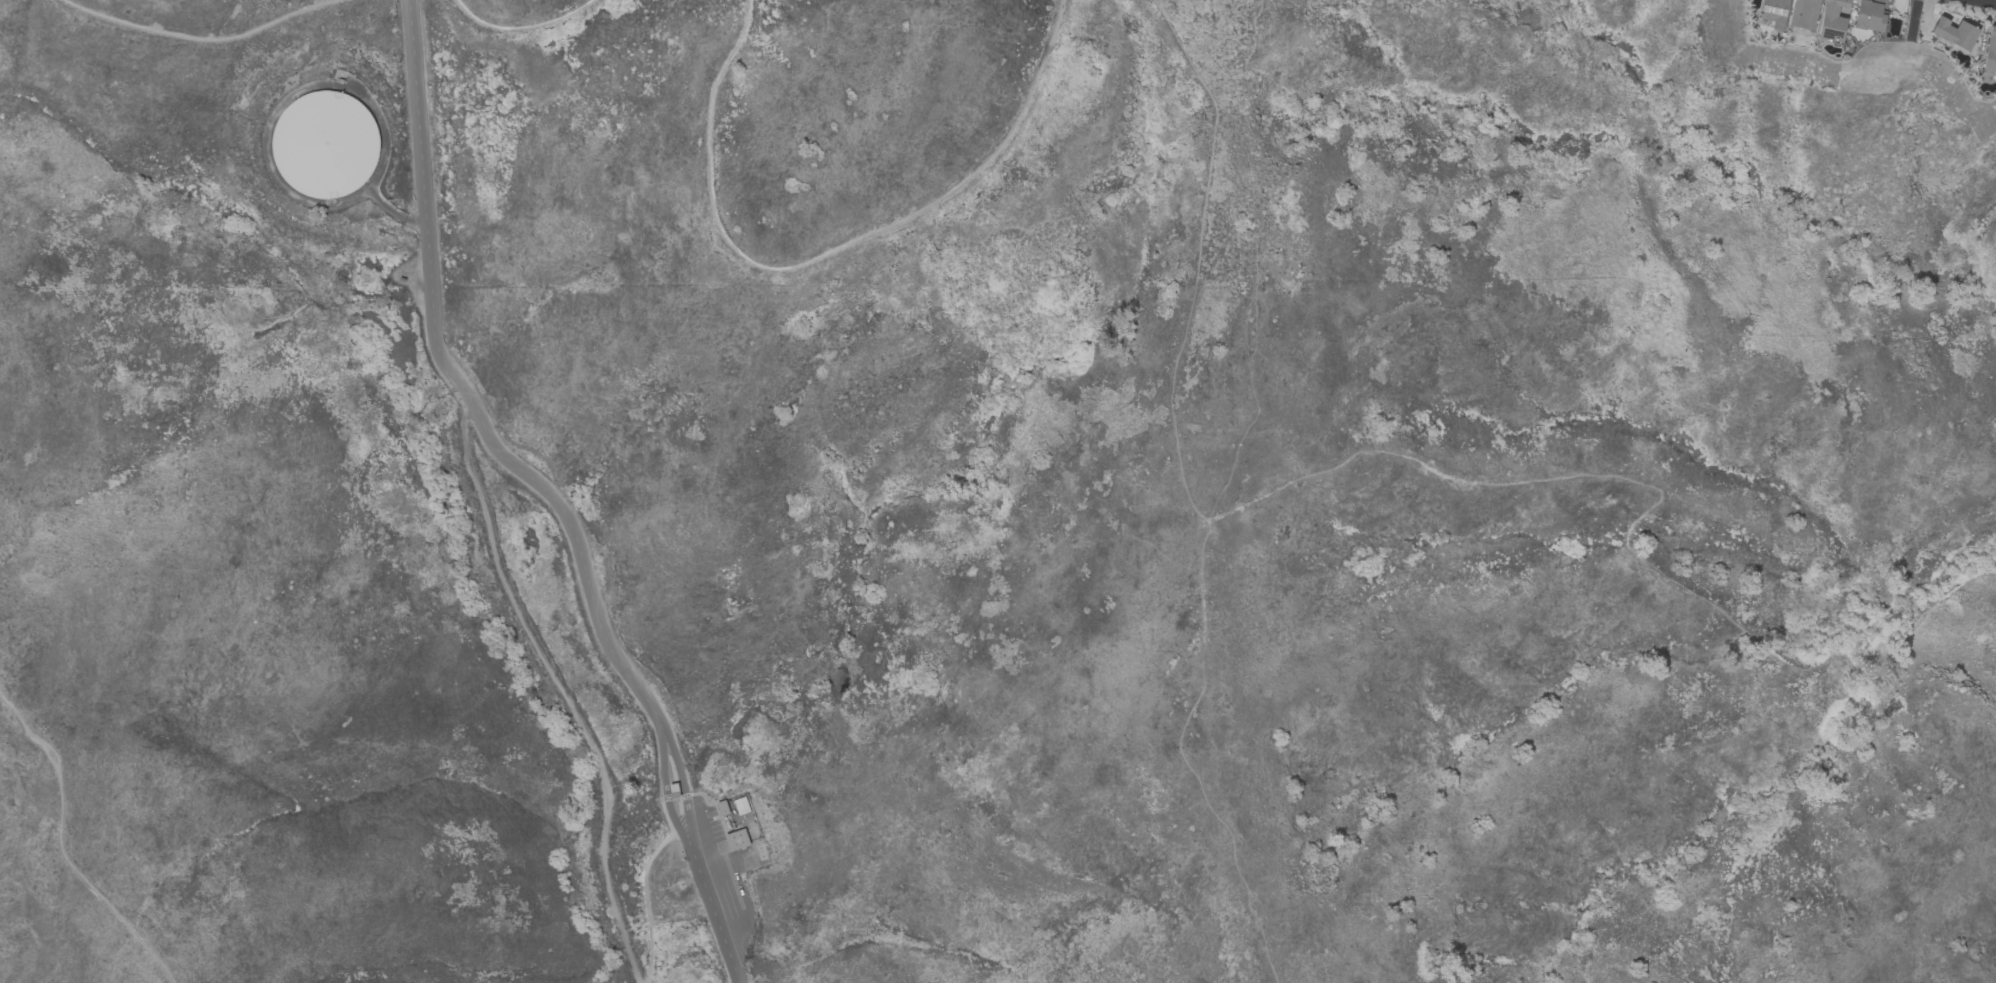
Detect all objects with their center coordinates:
road: (1994, 0)
building: (1804, 14)
building: (1870, 15)
building: (1833, 19)
road: (505, 29)
building: (1955, 33)
road: (198, 36)
building: (1990, 52)
water tower: (325, 146)
road: (834, 261)
toll booth: (431, 289)
road: (463, 393)
road: (1189, 499)
road: (1643, 517)
road: (566, 688)
road: (662, 734)
building: (741, 806)
building: (722, 808)
building: (736, 840)
road: (61, 849)
road: (645, 899)
road: (714, 914)

